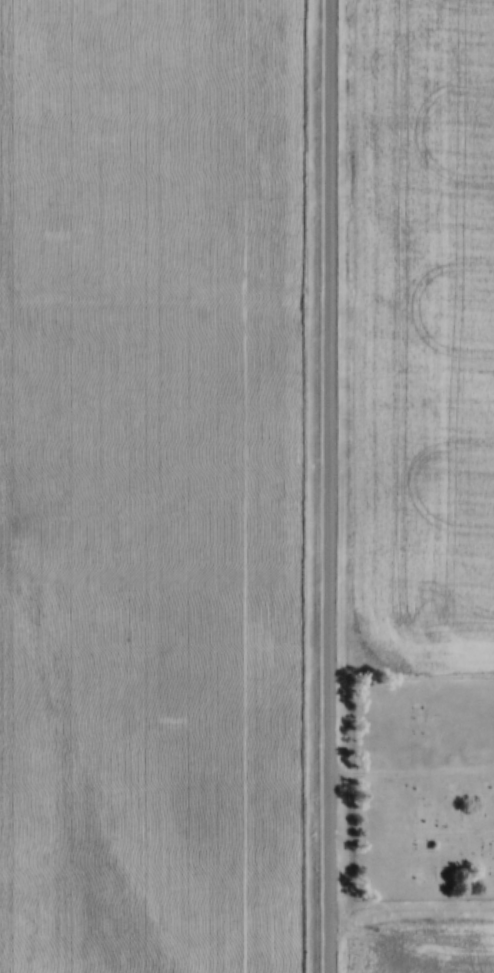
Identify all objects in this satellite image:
road: (328, 486)

